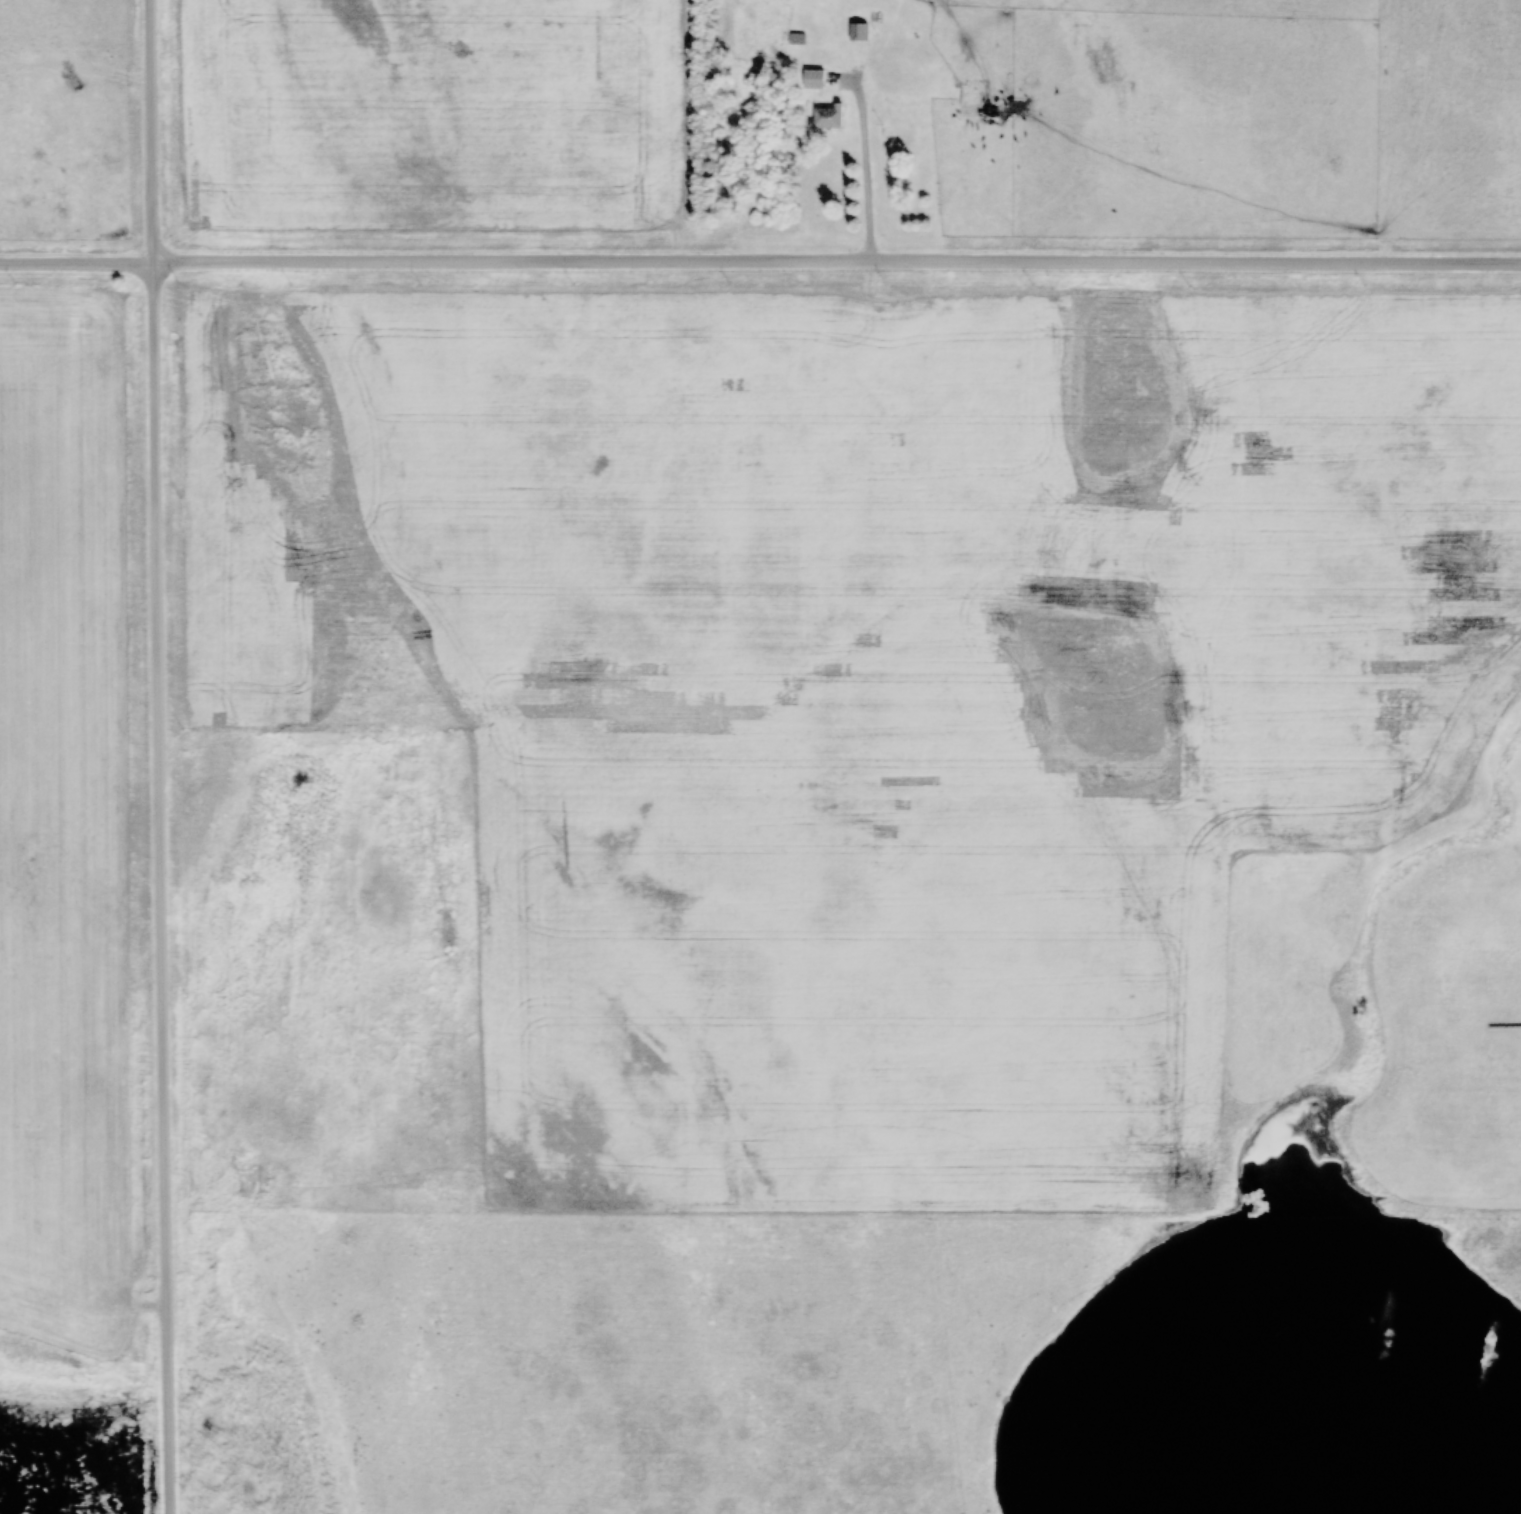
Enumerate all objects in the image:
building: (857, 31)
building: (813, 79)
building: (973, 88)
building: (907, 99)
building: (969, 110)
crop: (429, 113)
building: (828, 117)
road: (863, 174)
road: (760, 262)
road: (140, 757)

